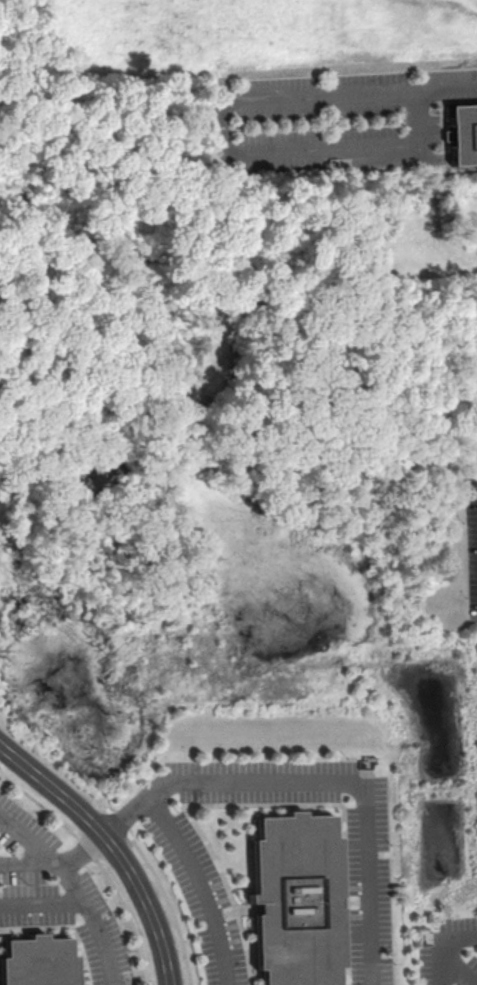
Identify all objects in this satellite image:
road: (444, 91)
parking lot: (329, 116)
building: (460, 135)
road: (223, 148)
parking lot: (470, 546)
road: (35, 775)
road: (354, 781)
road: (104, 830)
road: (26, 859)
road: (200, 884)
road: (75, 886)
road: (133, 887)
building: (288, 901)
road: (42, 902)
road: (440, 941)
parking lot: (449, 952)
building: (31, 963)
road: (458, 967)

